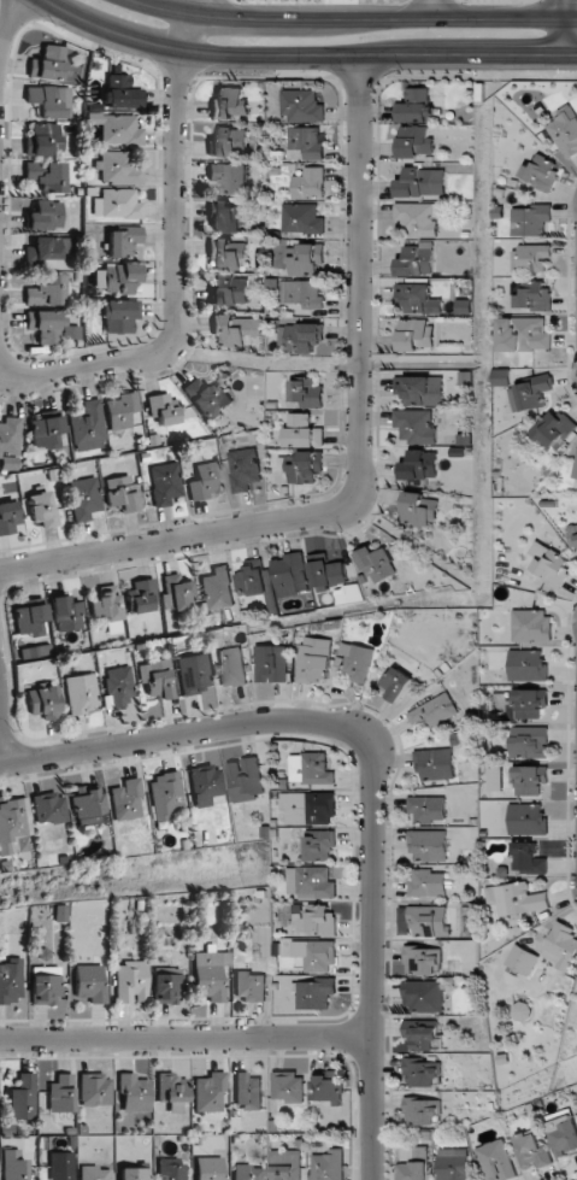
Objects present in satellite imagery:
road: (432, 8)
road: (355, 18)
road: (10, 24)
road: (567, 28)
road: (302, 57)
building: (47, 63)
building: (119, 93)
building: (49, 100)
building: (229, 104)
building: (302, 106)
building: (416, 106)
building: (116, 129)
building: (565, 130)
building: (43, 139)
building: (228, 142)
building: (306, 142)
building: (414, 142)
building: (541, 171)
building: (46, 175)
building: (229, 176)
building: (422, 182)
building: (308, 183)
building: (116, 204)
building: (45, 216)
building: (225, 216)
building: (301, 218)
building: (419, 218)
building: (531, 219)
building: (120, 240)
building: (47, 248)
building: (228, 253)
building: (531, 257)
building: (305, 259)
building: (417, 259)
road: (175, 262)
building: (117, 277)
building: (46, 292)
building: (229, 292)
building: (302, 293)
building: (532, 295)
building: (420, 299)
building: (118, 315)
building: (45, 325)
building: (234, 330)
building: (524, 334)
building: (414, 335)
building: (502, 377)
building: (419, 389)
building: (307, 393)
building: (530, 393)
building: (206, 398)
building: (163, 409)
building: (120, 410)
building: (416, 425)
building: (88, 427)
building: (552, 429)
building: (46, 432)
building: (304, 432)
building: (10, 442)
road: (360, 460)
building: (420, 465)
building: (576, 465)
building: (306, 466)
building: (243, 469)
building: (204, 481)
building: (164, 483)
building: (120, 493)
building: (83, 498)
building: (417, 509)
building: (41, 510)
building: (8, 518)
building: (572, 535)
building: (549, 563)
building: (377, 564)
building: (328, 574)
building: (290, 575)
building: (257, 583)
building: (217, 588)
building: (176, 591)
building: (346, 594)
building: (141, 595)
building: (105, 606)
building: (66, 614)
building: (30, 620)
building: (531, 626)
building: (34, 651)
building: (314, 659)
building: (271, 663)
building: (355, 664)
building: (528, 664)
building: (231, 667)
building: (192, 673)
building: (154, 679)
building: (117, 683)
building: (398, 683)
building: (78, 693)
building: (41, 701)
building: (530, 703)
building: (434, 710)
building: (529, 741)
road: (1, 747)
building: (435, 763)
building: (312, 769)
road: (372, 771)
building: (495, 779)
building: (246, 780)
building: (530, 780)
building: (205, 783)
building: (164, 796)
building: (125, 800)
building: (87, 805)
building: (49, 808)
building: (310, 808)
building: (428, 808)
building: (528, 818)
building: (12, 827)
building: (320, 845)
building: (429, 845)
building: (528, 858)
building: (310, 881)
building: (426, 883)
building: (516, 898)
building: (58, 912)
building: (561, 946)
building: (316, 955)
building: (523, 959)
building: (423, 961)
building: (208, 975)
building: (10, 981)
building: (130, 981)
building: (89, 984)
building: (45, 985)
building: (249, 986)
building: (165, 987)
building: (316, 993)
building: (424, 996)
building: (423, 1034)
road: (184, 1038)
building: (422, 1072)
building: (288, 1086)
building: (328, 1086)
building: (94, 1090)
building: (170, 1091)
building: (60, 1092)
building: (208, 1092)
building: (248, 1092)
building: (133, 1093)
building: (23, 1097)
building: (422, 1111)
building: (565, 1135)
building: (532, 1151)
building: (497, 1161)
building: (414, 1163)
building: (453, 1163)
building: (13, 1164)
building: (285, 1164)
building: (60, 1166)
building: (328, 1166)
building: (208, 1168)
building: (170, 1169)
building: (94, 1173)
building: (247, 1173)
building: (133, 1174)

